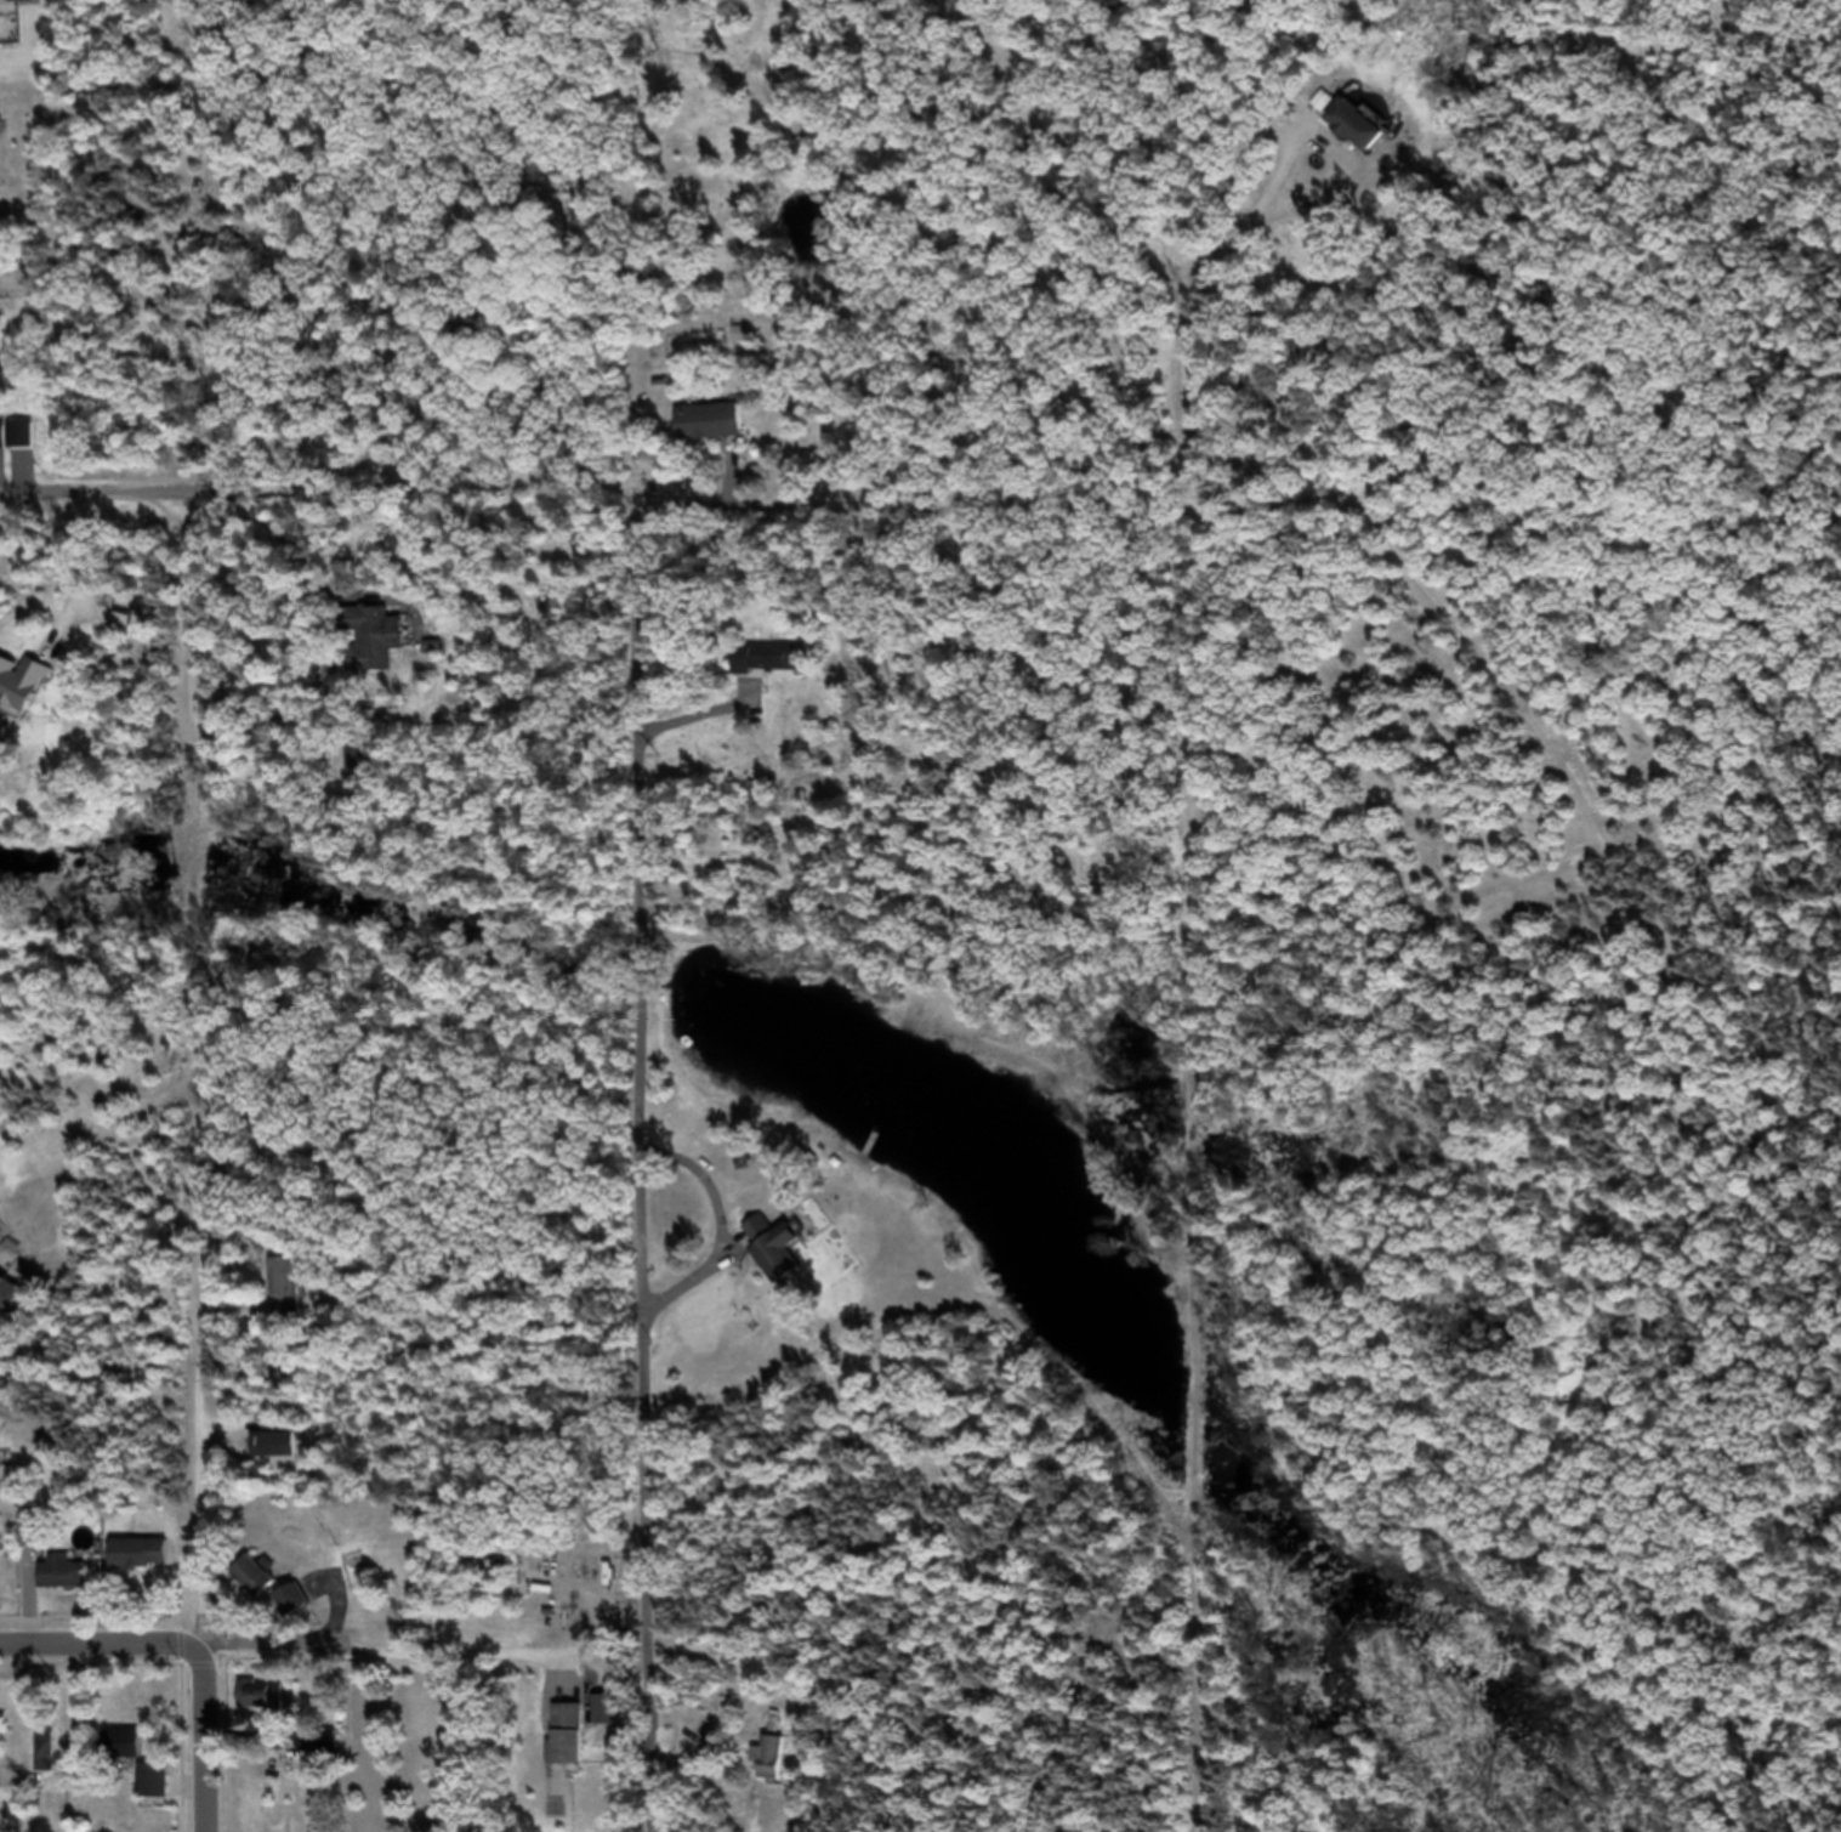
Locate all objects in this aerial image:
building: (2, 42)
building: (1365, 135)
building: (716, 433)
building: (2, 449)
road: (515, 498)
road: (187, 541)
road: (74, 575)
building: (374, 651)
road: (335, 663)
building: (769, 668)
building: (27, 693)
road: (650, 1164)
road: (192, 1208)
building: (765, 1238)
building: (791, 1261)
building: (292, 1298)
building: (16, 1301)
building: (272, 1454)
building: (4, 1471)
building: (36, 1539)
building: (0, 1579)
building: (69, 1583)
building: (157, 1587)
building: (262, 1588)
building: (299, 1612)
road: (337, 1620)
road: (393, 1654)
road: (98, 1657)
building: (268, 1705)
building: (612, 1720)
building: (575, 1745)
road: (483, 1746)
building: (130, 1754)
building: (49, 1762)
building: (777, 1768)
building: (161, 1790)

